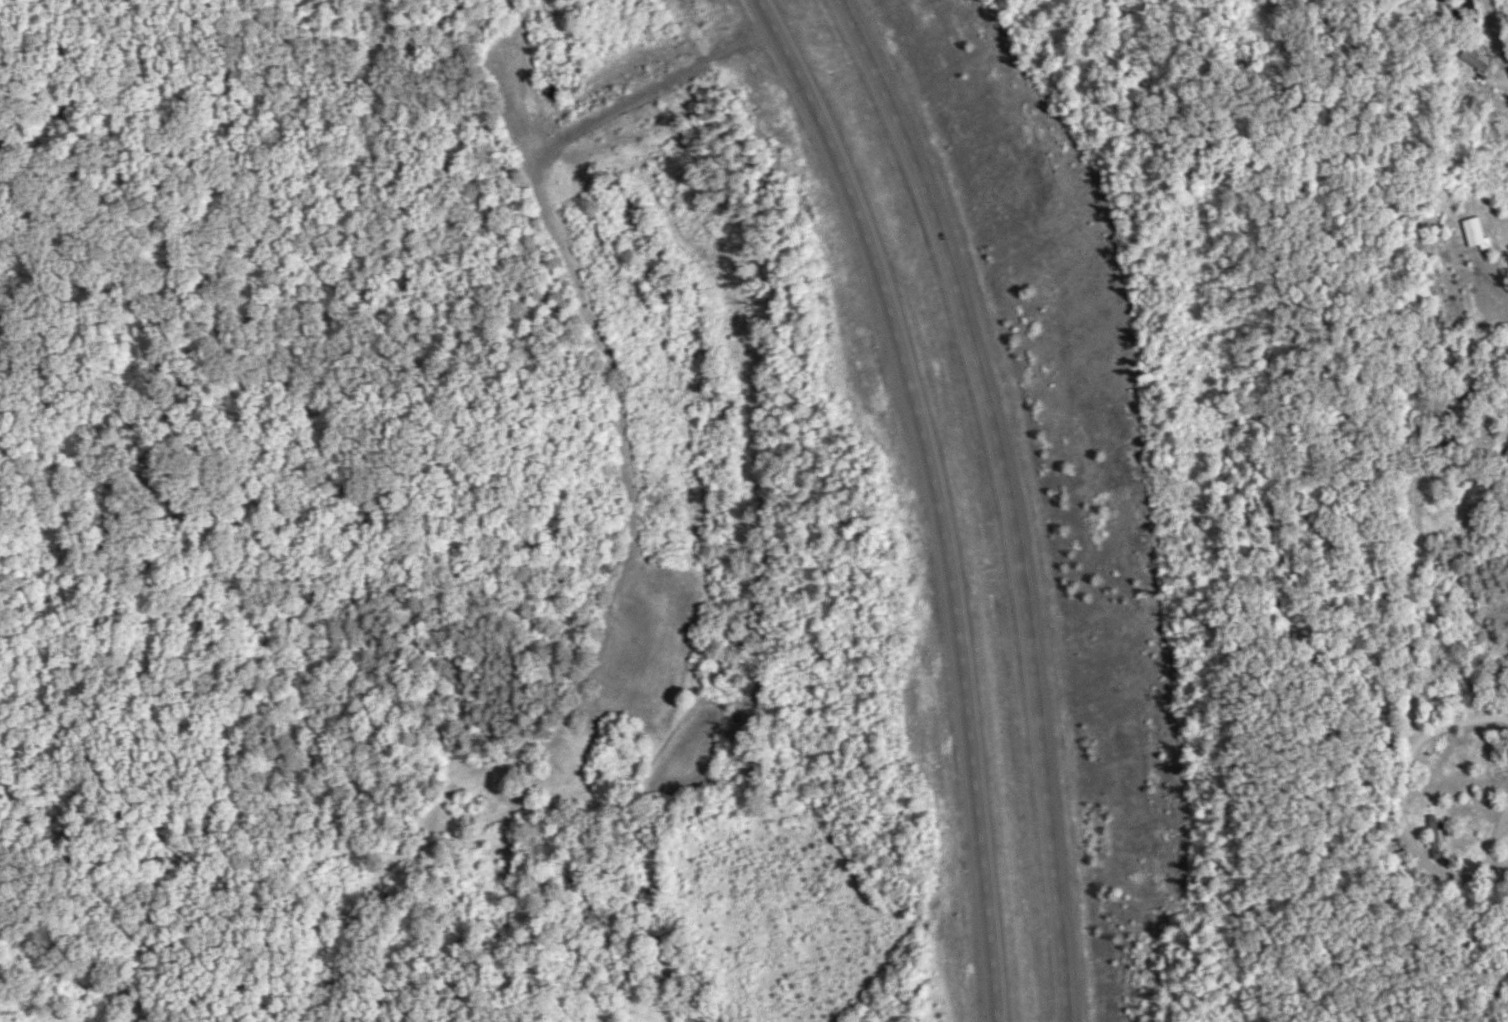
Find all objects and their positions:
building: (1478, 234)
road: (934, 496)
road: (994, 499)
road: (1409, 582)
building: (1431, 834)

